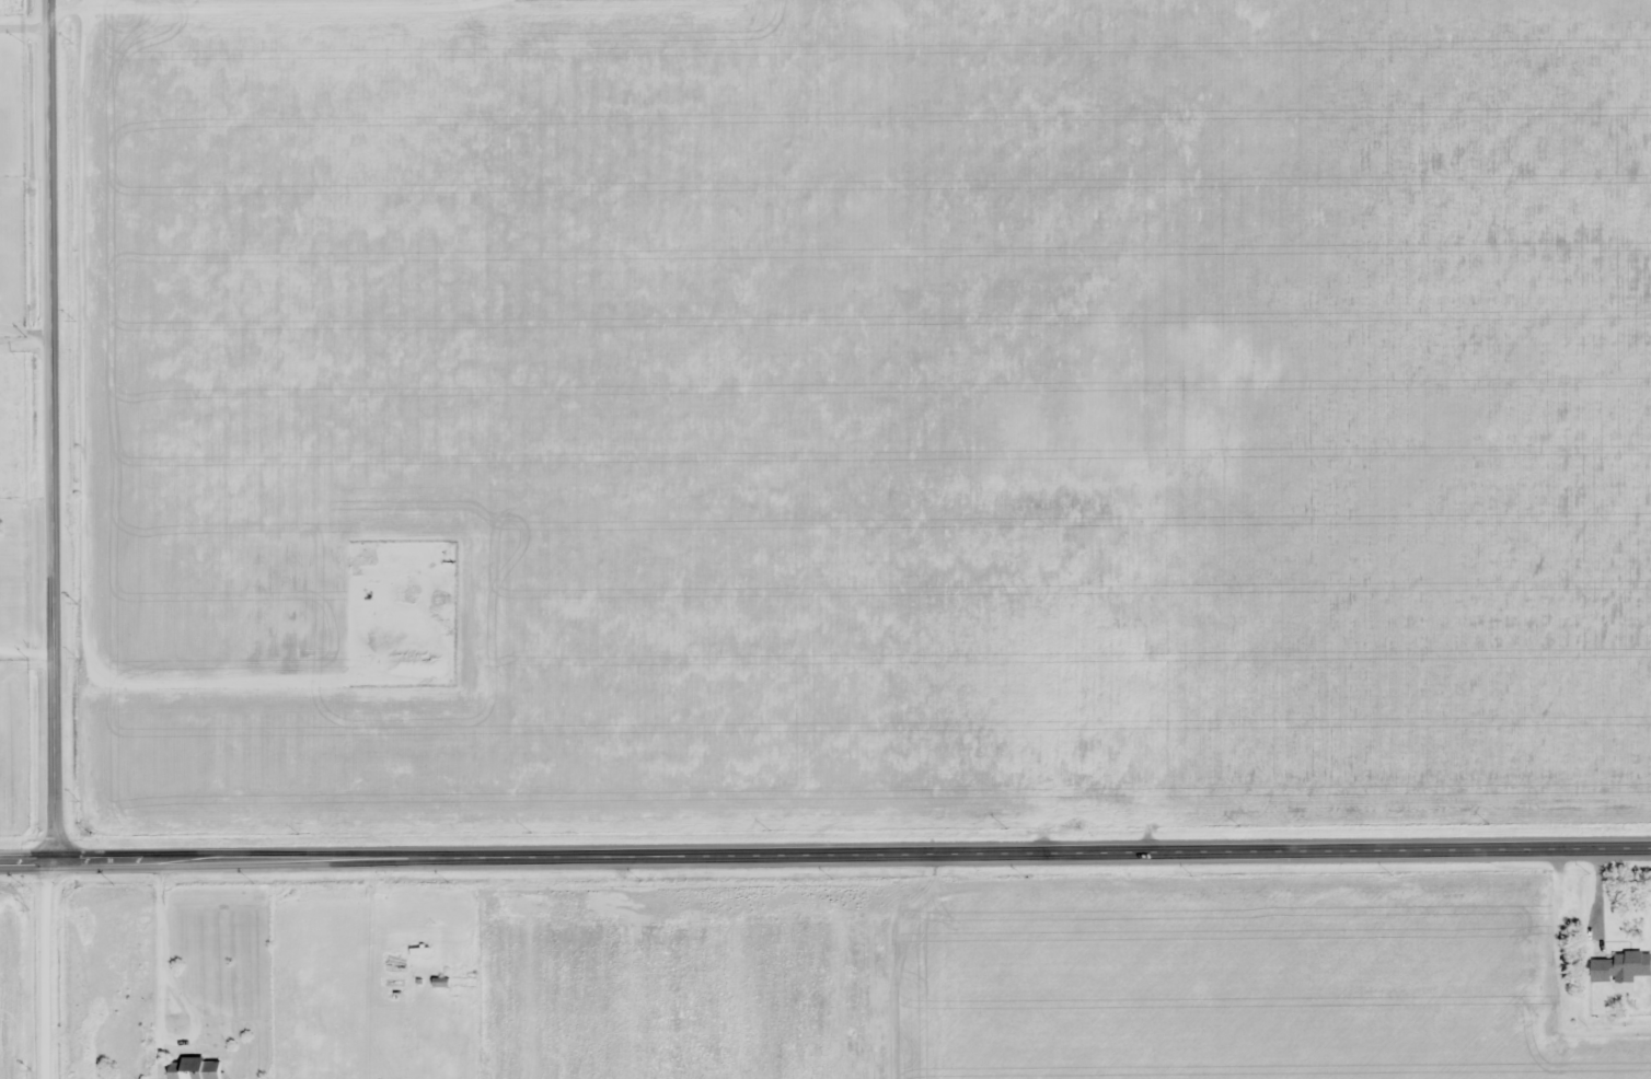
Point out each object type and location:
road: (51, 430)
road: (825, 858)
building: (1623, 967)
road: (53, 970)
building: (194, 1069)

